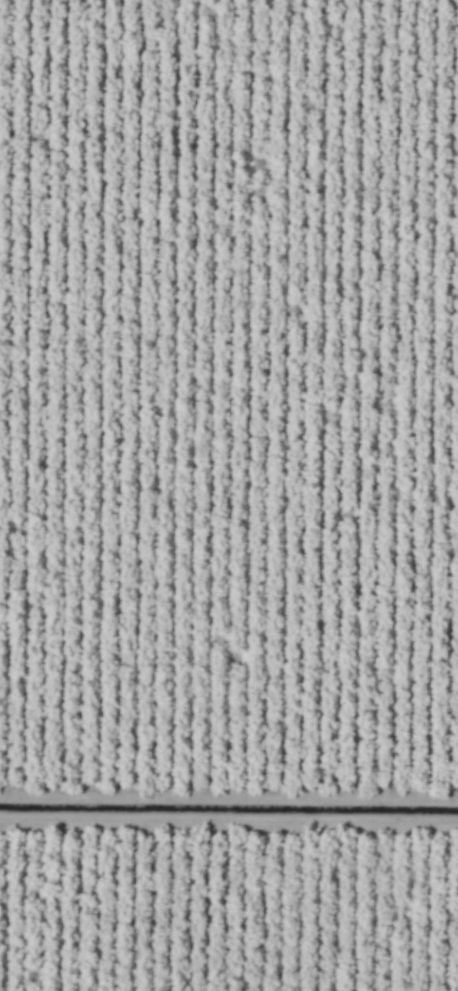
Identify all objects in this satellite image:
road: (228, 798)

